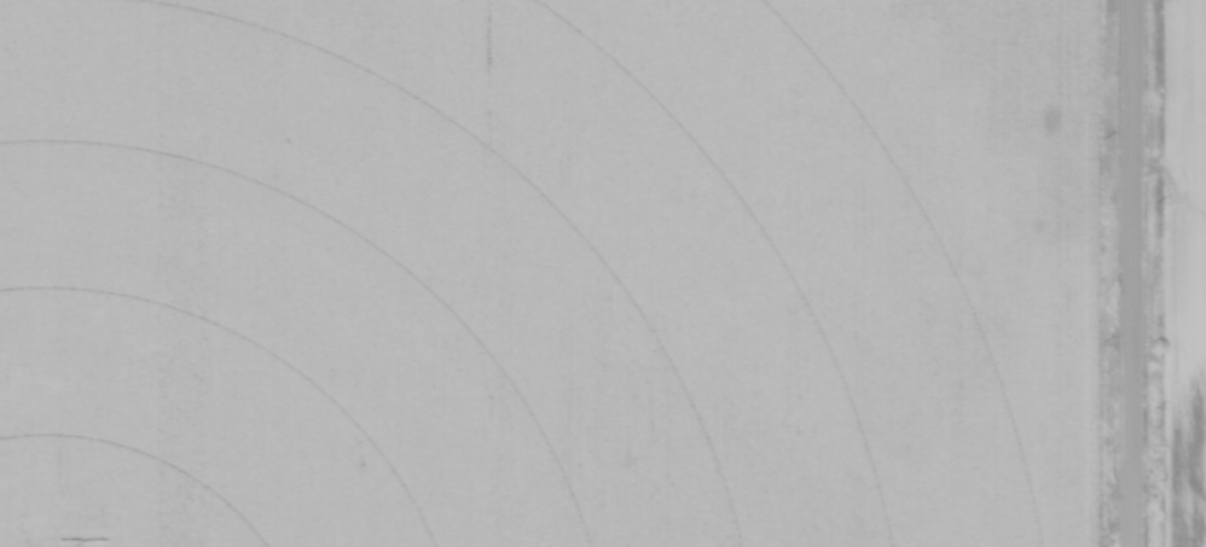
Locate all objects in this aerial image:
road: (1132, 273)

